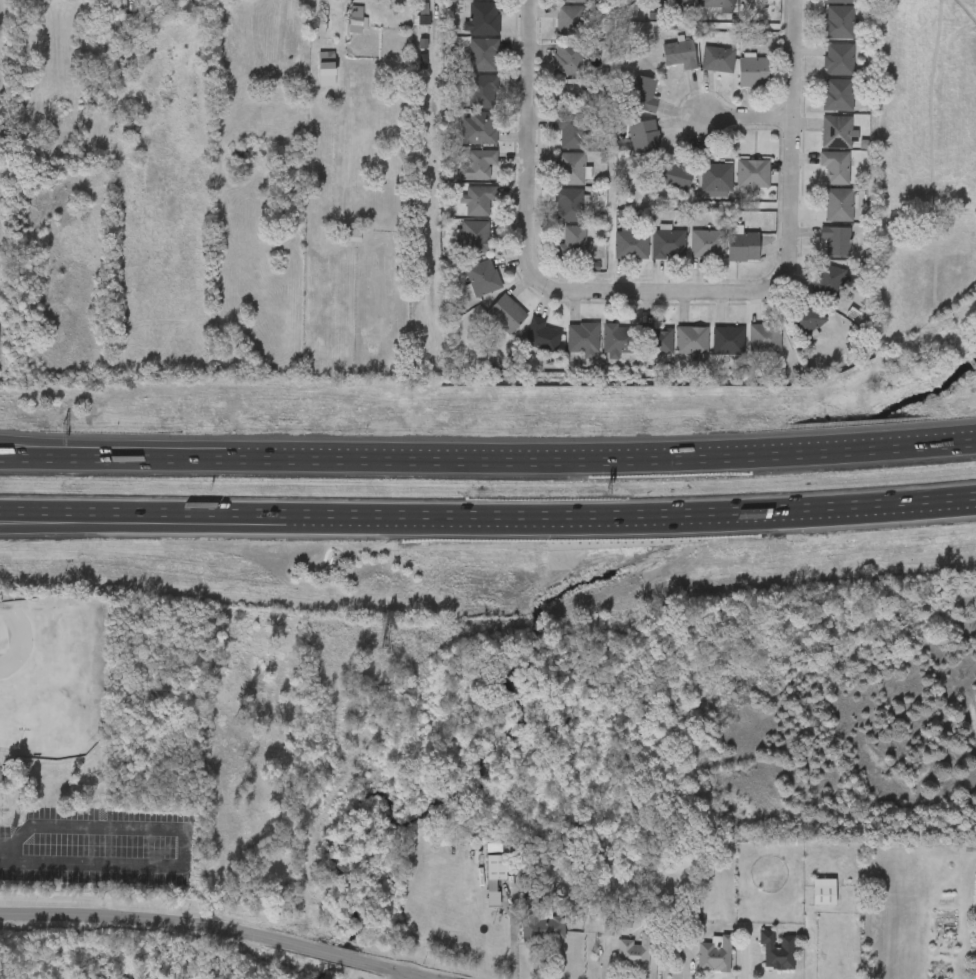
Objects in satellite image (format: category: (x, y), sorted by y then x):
building: (573, 1)
building: (838, 1)
building: (461, 3)
building: (678, 3)
building: (715, 3)
building: (741, 4)
building: (559, 6)
building: (483, 19)
building: (129, 21)
building: (569, 22)
building: (839, 22)
building: (467, 29)
building: (553, 31)
building: (824, 32)
building: (341, 35)
building: (679, 53)
building: (483, 55)
building: (568, 59)
building: (718, 59)
building: (838, 59)
building: (664, 64)
building: (468, 65)
building: (702, 69)
building: (823, 69)
building: (552, 70)
building: (754, 71)
building: (311, 78)
building: (738, 82)
building: (482, 92)
building: (643, 93)
building: (837, 94)
building: (467, 101)
building: (628, 104)
building: (822, 104)
road: (743, 117)
building: (478, 128)
building: (571, 131)
building: (836, 132)
road: (522, 136)
building: (644, 136)
building: (463, 139)
road: (784, 142)
building: (822, 142)
building: (556, 143)
building: (628, 147)
building: (478, 164)
building: (835, 166)
building: (570, 168)
building: (462, 174)
building: (676, 174)
building: (752, 174)
building: (716, 177)
building: (820, 177)
building: (555, 179)
building: (737, 185)
building: (700, 187)
building: (477, 200)
building: (838, 204)
building: (569, 205)
building: (554, 209)
building: (463, 210)
building: (823, 215)
building: (475, 237)
building: (835, 241)
building: (574, 243)
building: (630, 244)
building: (668, 244)
building: (707, 244)
building: (458, 246)
building: (743, 246)
building: (819, 250)
building: (559, 252)
building: (615, 254)
building: (653, 254)
building: (691, 254)
building: (727, 255)
building: (482, 277)
building: (827, 281)
building: (467, 288)
road: (650, 291)
building: (813, 291)
building: (509, 314)
building: (806, 317)
building: (490, 324)
building: (793, 332)
building: (541, 335)
building: (765, 335)
building: (582, 336)
building: (619, 339)
building: (728, 339)
building: (656, 340)
building: (691, 340)
building: (852, 343)
building: (526, 345)
building: (749, 348)
building: (567, 349)
building: (648, 350)
building: (676, 350)
building: (600, 351)
building: (712, 351)
road: (775, 440)
road: (195, 443)
road: (775, 452)
road: (195, 454)
road: (482, 454)
road: (928, 499)
road: (928, 502)
road: (232, 513)
road: (673, 515)
road: (232, 527)
park: (54, 744)
road: (185, 837)
road: (2, 860)
building: (498, 876)
building: (478, 887)
building: (829, 891)
building: (808, 901)
building: (534, 903)
road: (205, 928)
building: (528, 936)
building: (781, 950)
building: (637, 951)
building: (718, 954)
road: (745, 954)
building: (761, 960)
building: (619, 962)
building: (699, 963)

